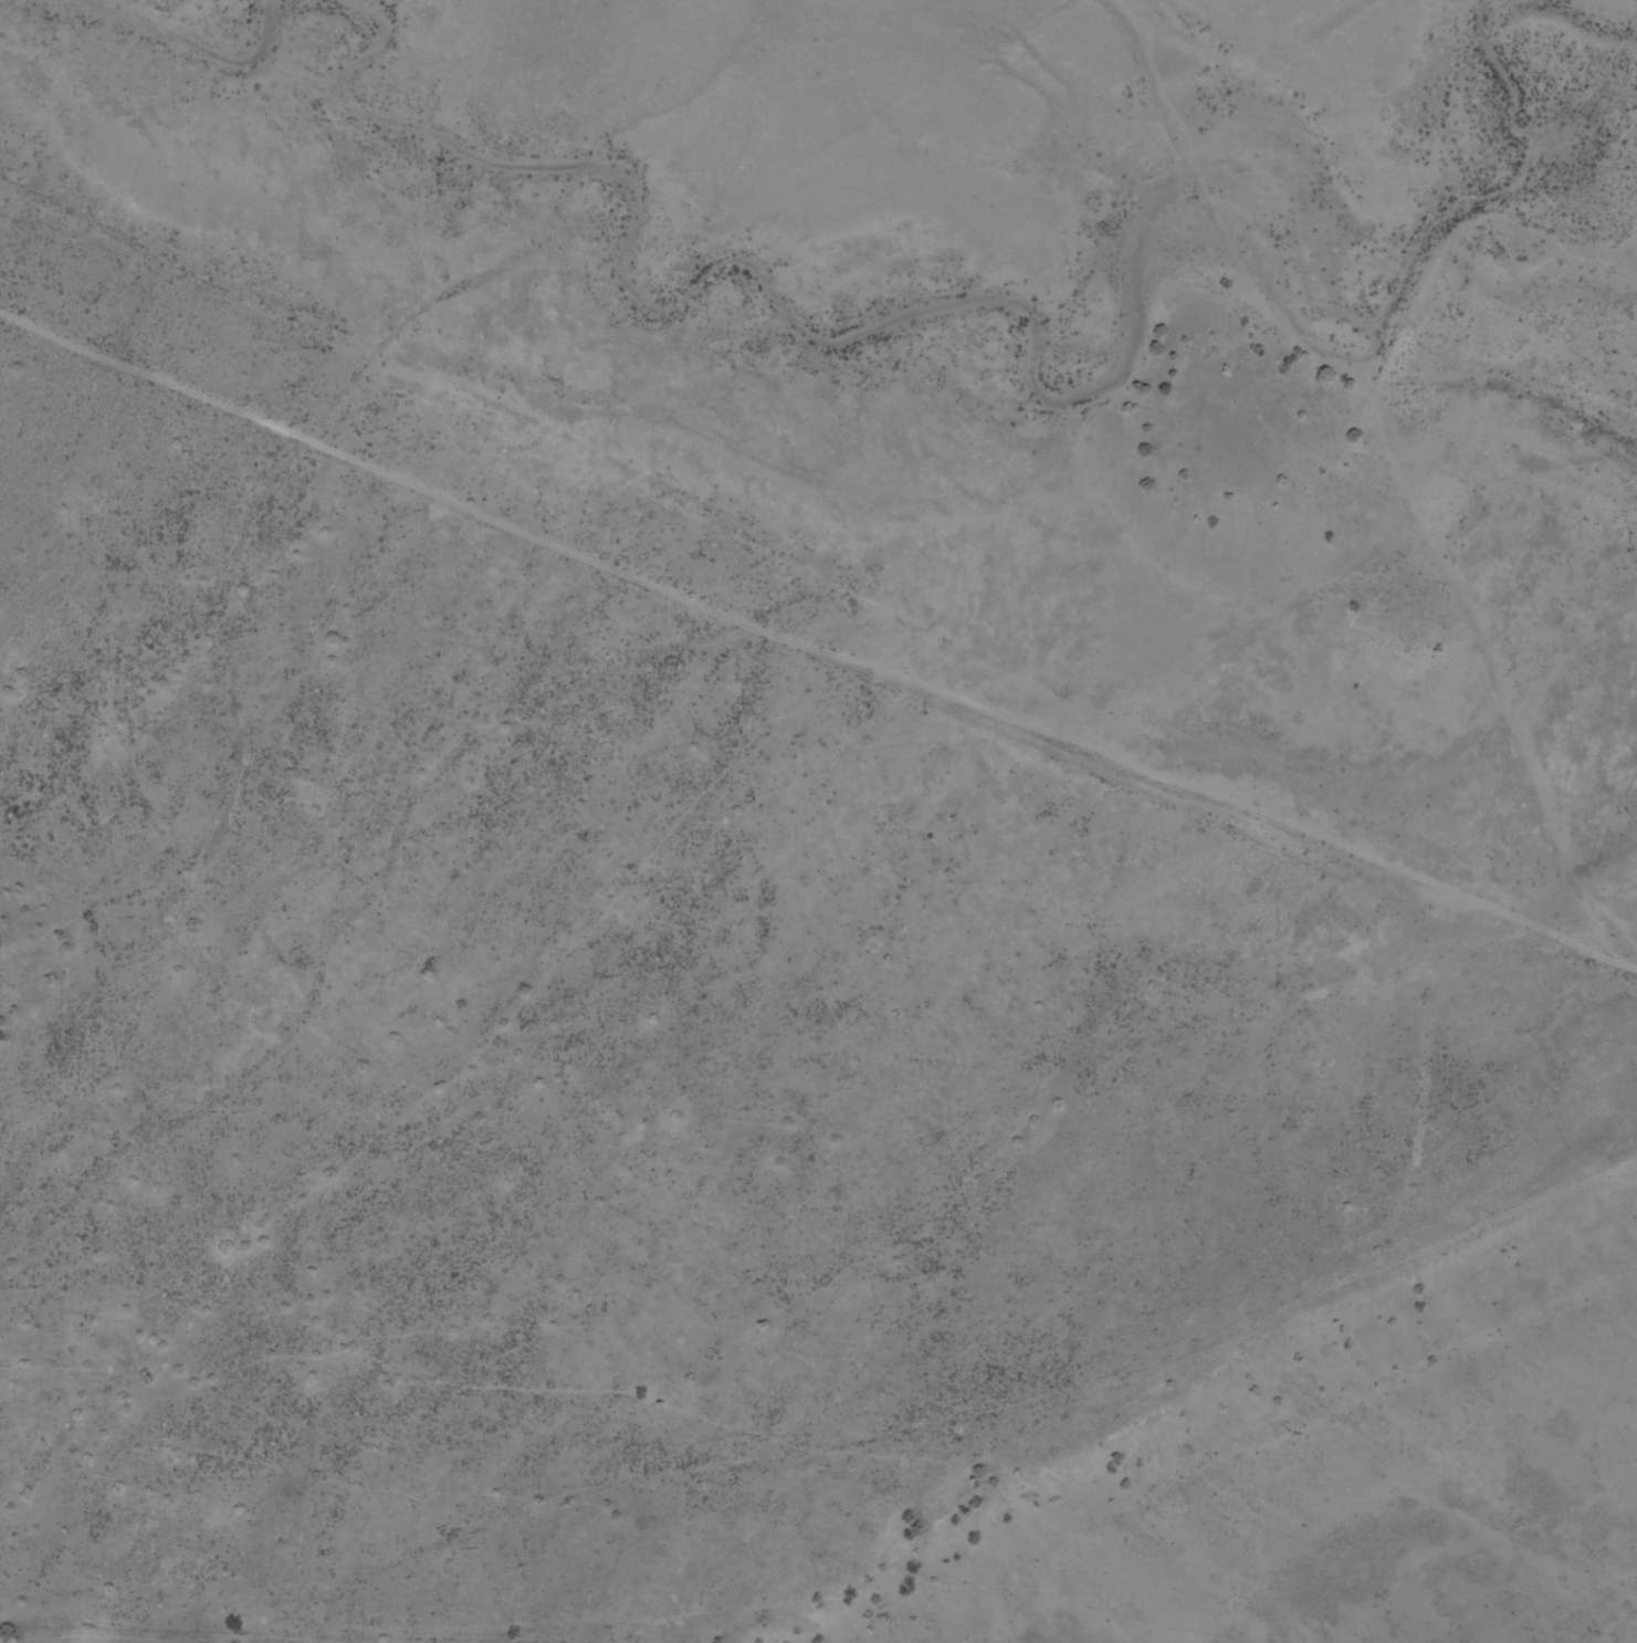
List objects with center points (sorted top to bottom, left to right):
road: (1388, 1499)

